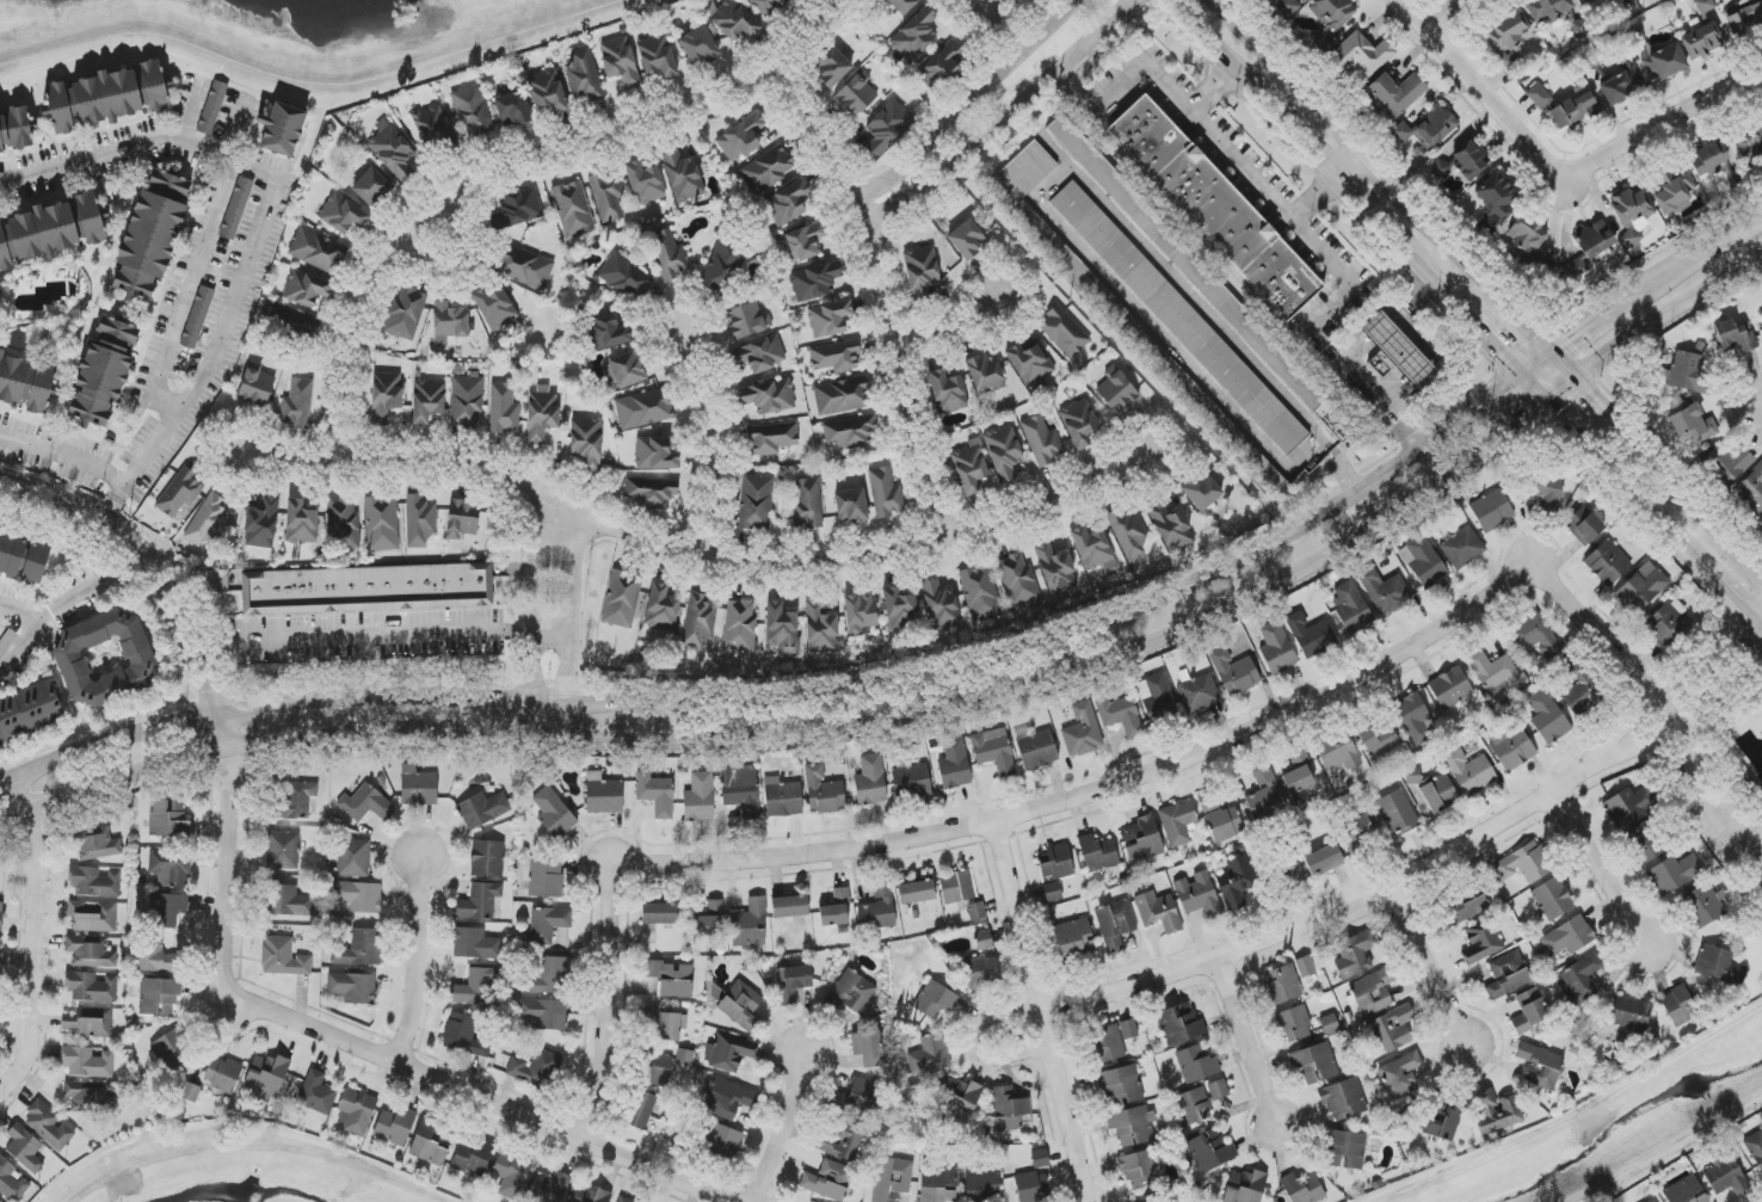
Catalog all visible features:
road: (994, 0)
building: (1583, 1)
building: (904, 5)
building: (768, 6)
building: (1292, 6)
building: (1548, 8)
road: (1441, 11)
building: (1331, 13)
building: (734, 20)
building: (1746, 20)
building: (1577, 26)
building: (1507, 31)
building: (916, 35)
road: (1194, 36)
building: (1702, 42)
building: (700, 45)
building: (1362, 55)
building: (658, 56)
building: (1657, 56)
building: (1513, 60)
building: (620, 62)
building: (943, 66)
building: (832, 67)
building: (584, 76)
building: (1621, 86)
building: (548, 91)
road: (1210, 91)
building: (1397, 93)
building: (857, 94)
building: (1539, 95)
building: (106, 98)
road: (966, 106)
building: (212, 107)
building: (513, 109)
road: (193, 110)
building: (473, 111)
road: (630, 121)
road: (1004, 123)
building: (1758, 124)
road: (1011, 125)
road: (234, 127)
building: (433, 128)
building: (887, 128)
building: (283, 129)
building: (1427, 129)
building: (740, 138)
building: (1751, 149)
road: (1230, 150)
building: (392, 152)
parking lot: (1246, 155)
building: (1708, 158)
building: (1471, 160)
road: (1353, 168)
building: (1441, 168)
building: (768, 169)
road: (1062, 172)
road: (1387, 172)
road: (1559, 172)
building: (683, 175)
road: (1332, 180)
building: (645, 183)
building: (170, 185)
building: (371, 187)
building: (1674, 190)
building: (608, 196)
road: (1314, 201)
building: (1495, 201)
building: (787, 203)
parking lot: (1222, 204)
building: (520, 207)
building: (1215, 207)
building: (236, 208)
building: (573, 209)
building: (343, 215)
building: (1632, 215)
building: (49, 230)
building: (1526, 235)
road: (1731, 239)
road: (438, 240)
building: (967, 240)
building: (1596, 240)
building: (148, 244)
building: (801, 244)
building: (318, 251)
parking lot: (1335, 251)
building: (669, 258)
road: (246, 266)
building: (524, 267)
building: (722, 267)
building: (1576, 267)
building: (922, 270)
road: (1182, 271)
building: (626, 276)
building: (815, 281)
building: (1205, 282)
road: (190, 289)
building: (306, 289)
road: (880, 291)
building: (1103, 291)
road: (1411, 298)
road: (1627, 303)
building: (494, 308)
building: (406, 313)
building: (197, 318)
building: (1179, 318)
road: (1669, 318)
building: (830, 319)
building: (747, 321)
building: (292, 322)
building: (449, 322)
road: (951, 325)
road: (1477, 328)
road: (346, 331)
building: (1064, 332)
road: (1156, 332)
building: (606, 333)
road: (1410, 337)
building: (1733, 338)
traffic signals: (1569, 339)
road: (980, 349)
building: (1394, 351)
building: (758, 355)
traffic signals: (1502, 355)
building: (837, 356)
road: (1534, 359)
building: (1030, 364)
road: (1565, 365)
road: (1093, 366)
building: (624, 370)
building: (104, 371)
building: (1687, 371)
building: (984, 372)
road: (1017, 372)
building: (26, 383)
building: (257, 386)
road: (1533, 387)
road: (974, 389)
building: (947, 393)
building: (1117, 393)
road: (1564, 393)
building: (386, 395)
traffic signals: (1590, 395)
building: (769, 396)
building: (842, 396)
building: (427, 400)
building: (467, 400)
road: (1384, 401)
building: (298, 403)
building: (504, 408)
building: (643, 408)
building: (541, 414)
road: (1015, 417)
road: (1609, 418)
traffic signals: (1528, 419)
building: (1693, 423)
building: (1079, 424)
building: (849, 431)
building: (771, 438)
building: (587, 440)
road: (710, 440)
building: (1042, 440)
road: (1495, 442)
road: (269, 446)
building: (1004, 452)
building: (655, 454)
building: (1730, 461)
building: (969, 468)
road: (1612, 470)
road: (223, 471)
road: (401, 471)
building: (1751, 489)
building: (1548, 491)
building: (649, 492)
building: (1201, 492)
building: (179, 493)
building: (886, 493)
building: (808, 503)
building: (756, 504)
building: (851, 506)
building: (1492, 511)
road: (1704, 514)
road: (978, 517)
building: (462, 518)
road: (618, 518)
building: (208, 520)
building: (419, 520)
building: (301, 523)
building: (381, 523)
building: (263, 524)
building: (341, 524)
road: (937, 524)
road: (555, 525)
building: (1584, 525)
building: (1172, 529)
building: (1129, 535)
building: (1462, 548)
building: (1093, 549)
road: (691, 553)
building: (11, 554)
building: (1423, 561)
building: (1607, 562)
building: (36, 563)
road: (861, 568)
building: (1056, 569)
building: (1019, 581)
road: (1718, 585)
building: (368, 588)
building: (1641, 588)
building: (1384, 591)
building: (980, 593)
building: (623, 598)
road: (62, 605)
building: (941, 606)
building: (661, 608)
building: (1351, 608)
building: (900, 610)
road: (23, 611)
building: (860, 612)
building: (698, 621)
building: (1668, 622)
road: (534, 623)
road: (568, 624)
building: (739, 625)
building: (782, 629)
building: (821, 629)
road: (550, 633)
building: (1311, 635)
building: (1533, 636)
road: (384, 637)
building: (1276, 649)
building: (106, 659)
road: (918, 661)
building: (1234, 672)
building: (1496, 674)
road: (1668, 685)
building: (1450, 688)
building: (1581, 690)
building: (1197, 692)
road: (794, 695)
building: (1158, 698)
building: (29, 711)
building: (1120, 715)
building: (1547, 717)
road: (1678, 717)
building: (1415, 719)
road: (548, 721)
building: (1083, 732)
building: (1378, 738)
road: (743, 741)
building: (1511, 746)
building: (1037, 750)
building: (994, 751)
building: (1338, 753)
building: (954, 763)
building: (1471, 771)
building: (1413, 776)
building: (1298, 779)
building: (870, 781)
building: (911, 781)
road: (1699, 782)
building: (418, 787)
building: (740, 788)
building: (824, 791)
park: (1724, 791)
building: (655, 793)
building: (1440, 794)
building: (603, 795)
building: (1265, 795)
road: (1072, 796)
building: (700, 797)
building: (783, 800)
building: (297, 801)
building: (365, 805)
building: (1629, 806)
building: (1758, 807)
building: (482, 809)
building: (554, 813)
building: (1398, 813)
building: (168, 818)
building: (1220, 819)
building: (1178, 822)
building: (1357, 833)
building: (1141, 840)
building: (94, 843)
building: (1644, 843)
building: (283, 850)
building: (1098, 853)
building: (353, 858)
building: (487, 858)
building: (1324, 859)
building: (1055, 863)
building: (1524, 863)
building: (170, 868)
road: (1606, 869)
building: (1293, 873)
building: (1674, 874)
building: (546, 879)
building: (94, 882)
building: (956, 887)
building: (1053, 892)
building: (917, 893)
building: (1199, 894)
building: (359, 896)
building: (1553, 899)
building: (289, 901)
building: (1470, 901)
building: (479, 902)
building: (1704, 905)
building: (790, 906)
building: (834, 907)
building: (879, 908)
building: (166, 911)
building: (977, 911)
building: (1159, 911)
building: (660, 914)
building: (1, 916)
building: (93, 916)
building: (708, 919)
building: (547, 924)
building: (750, 924)
building: (1115, 924)
building: (1569, 936)
road: (32, 937)
building: (1073, 937)
building: (984, 941)
road: (1242, 943)
building: (1481, 943)
building: (473, 944)
building: (358, 948)
building: (0, 949)
building: (91, 953)
building: (1355, 954)
building: (155, 957)
road: (233, 957)
building: (283, 957)
road: (418, 961)
building: (1305, 966)
road: (1431, 966)
building: (1719, 966)
building: (979, 968)
building: (1508, 975)
building: (549, 978)
building: (672, 979)
building: (1578, 980)
building: (791, 982)
building: (1282, 985)
building: (91, 987)
building: (353, 987)
building: (475, 987)
building: (1373, 991)
building: (850, 992)
building: (159, 995)
building: (935, 1000)
building: (741, 1004)
road: (1047, 1007)
building: (1529, 1011)
building: (543, 1013)
building: (1631, 1013)
building: (651, 1015)
building: (90, 1022)
building: (1295, 1024)
building: (671, 1025)
building: (1178, 1025)
building: (1330, 1025)
road: (14, 1028)
building: (1393, 1028)
building: (1128, 1029)
building: (464, 1035)
road: (1246, 1038)
building: (1108, 1043)
building: (867, 1048)
building: (171, 1050)
building: (729, 1052)
building: (929, 1055)
building: (685, 1058)
building: (87, 1062)
building: (1316, 1064)
building: (1195, 1065)
building: (1540, 1066)
building: (536, 1068)
building: (655, 1070)
building: (222, 1074)
building: (266, 1075)
building: (1400, 1075)
building: (1120, 1084)
building: (1219, 1090)
building: (316, 1093)
building: (88, 1097)
building: (727, 1098)
building: (858, 1098)
building: (956, 1099)
building: (1343, 1099)
building: (1193, 1107)
building: (1009, 1109)
building: (641, 1110)
building: (356, 1111)
building: (1496, 1111)
building: (1443, 1118)
building: (395, 1126)
road: (782, 1126)
building: (1129, 1126)
building: (49, 1127)
building: (723, 1141)
building: (843, 1141)
building: (432, 1142)
building: (25, 1148)
building: (1755, 1148)
building: (1347, 1149)
building: (1210, 1151)
building: (473, 1157)
road: (1281, 1157)
building: (1040, 1159)
building: (1140, 1170)
building: (1725, 1175)
building: (511, 1176)
building: (892, 1178)
building: (828, 1181)
building: (12, 1182)
building: (938, 1184)
building: (982, 1185)
building: (1033, 1186)
building: (1245, 1186)
building: (549, 1188)
building: (1302, 1189)
building: (1686, 1191)
building: (589, 1195)
building: (623, 1200)
building: (0, 1201)
building: (1652, 1201)

